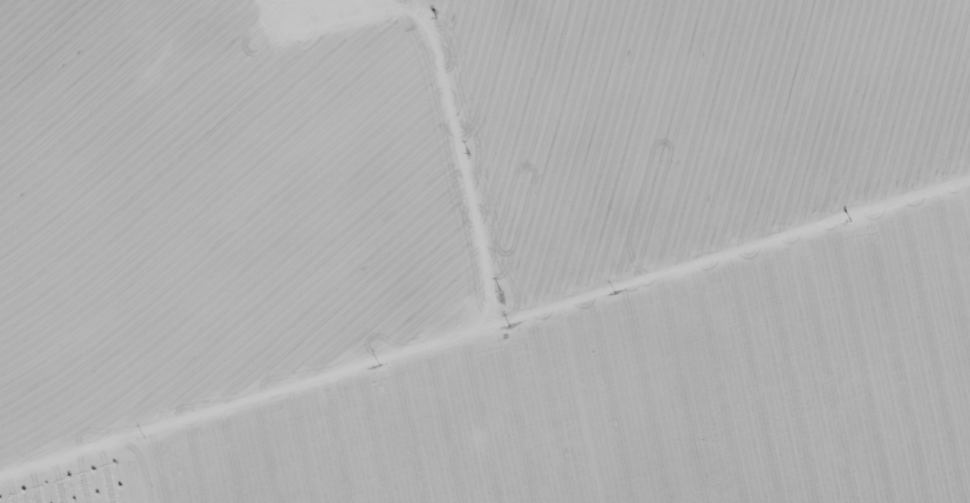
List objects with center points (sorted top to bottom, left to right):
road: (434, 177)
road: (497, 346)
road: (228, 481)

